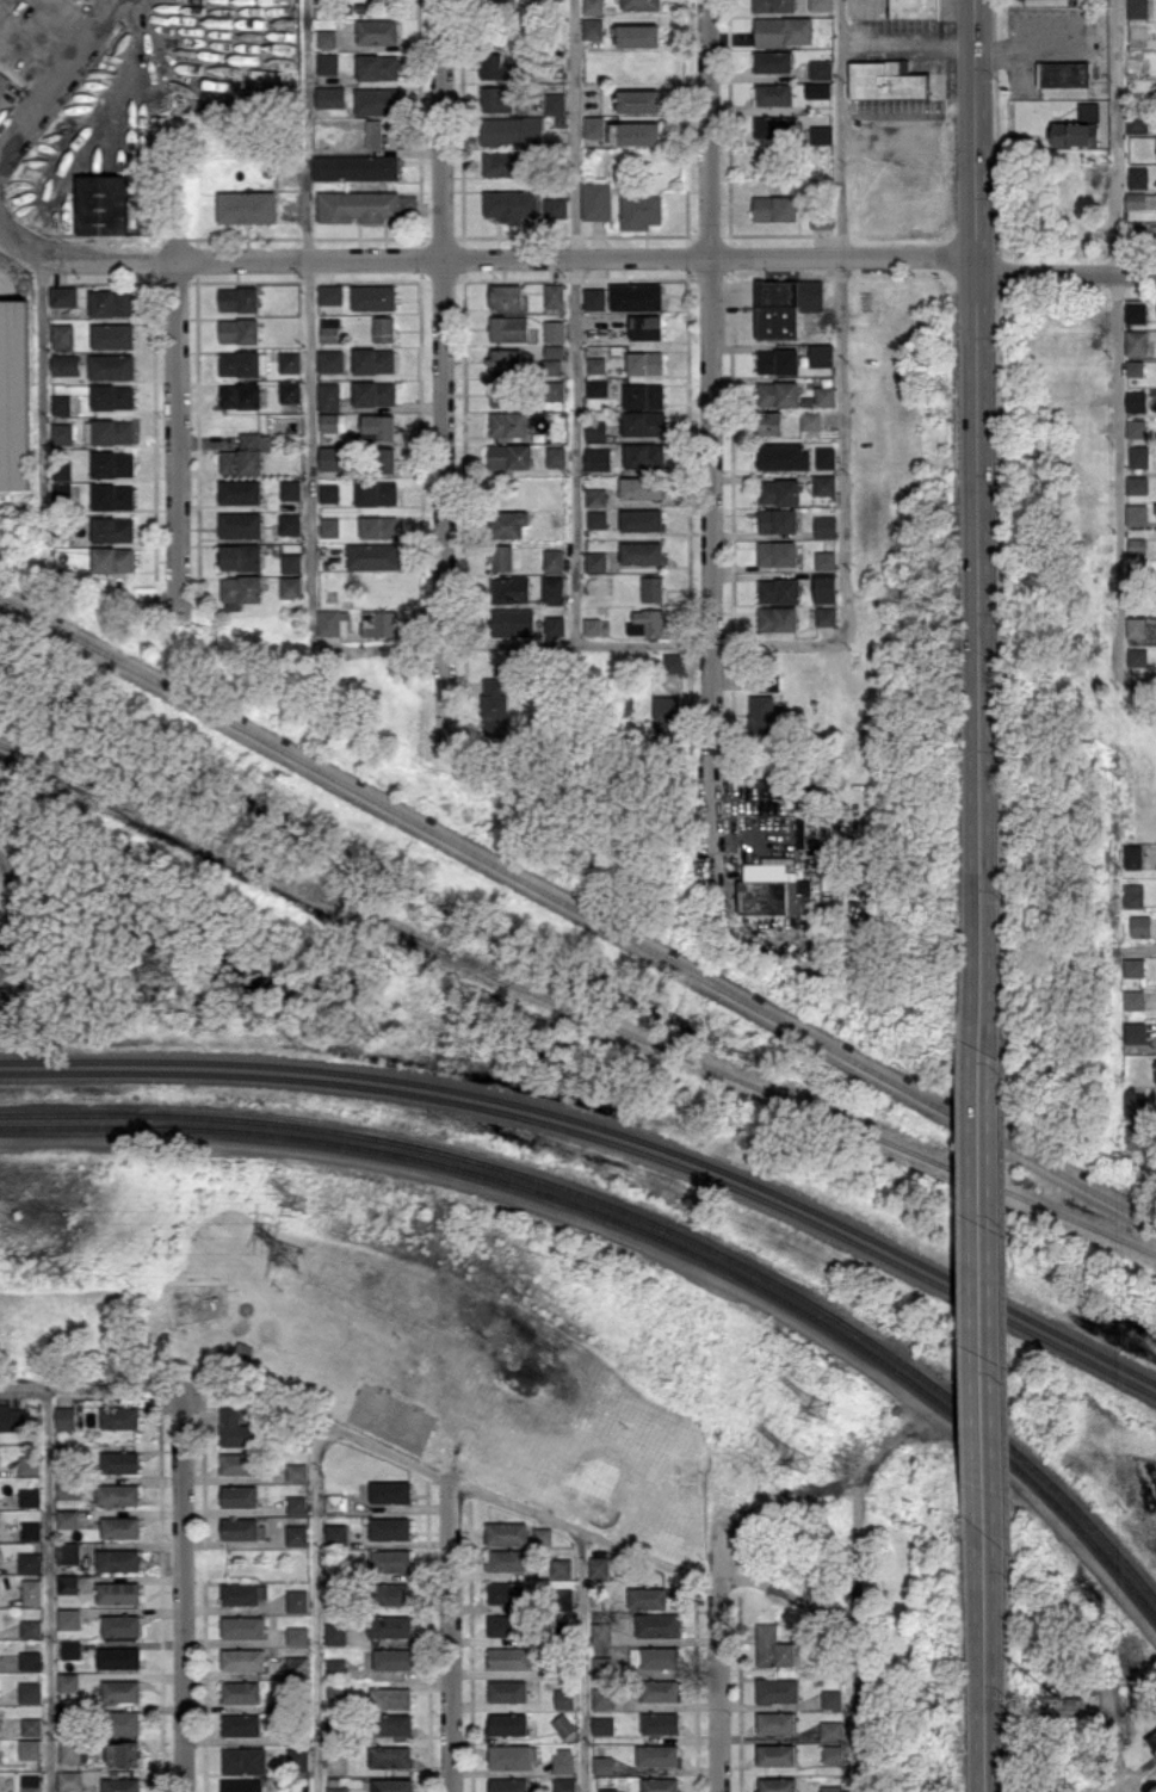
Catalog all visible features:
building: (641, 5)
building: (821, 5)
building: (593, 6)
building: (773, 6)
building: (914, 8)
building: (1137, 8)
building: (593, 27)
building: (377, 31)
building: (784, 31)
building: (638, 35)
building: (326, 38)
road: (907, 43)
road: (1034, 50)
building: (773, 61)
building: (328, 64)
building: (1133, 66)
building: (369, 67)
building: (821, 68)
building: (1063, 73)
building: (885, 80)
building: (2, 81)
road: (60, 81)
building: (818, 88)
building: (773, 93)
building: (496, 99)
building: (639, 100)
building: (555, 103)
building: (1088, 111)
building: (1136, 122)
building: (594, 125)
building: (777, 126)
building: (512, 130)
road: (884, 130)
building: (635, 132)
building: (821, 134)
building: (1075, 134)
building: (500, 165)
building: (356, 168)
building: (1138, 177)
building: (1136, 199)
building: (596, 200)
building: (509, 205)
building: (359, 206)
building: (247, 208)
building: (774, 208)
building: (555, 209)
building: (641, 210)
building: (821, 221)
building: (1152, 230)
road: (843, 258)
road: (350, 260)
road: (1067, 272)
building: (330, 295)
building: (554, 296)
building: (635, 296)
building: (63, 297)
building: (373, 297)
building: (594, 297)
building: (501, 298)
building: (239, 299)
building: (110, 304)
building: (784, 307)
building: (1136, 313)
road: (311, 322)
road: (577, 322)
road: (840, 322)
building: (645, 326)
building: (508, 329)
building: (239, 330)
building: (383, 330)
building: (554, 330)
building: (328, 332)
building: (112, 336)
road: (1120, 340)
building: (1137, 341)
building: (820, 354)
building: (505, 360)
building: (552, 360)
building: (778, 360)
building: (290, 362)
building: (330, 362)
building: (373, 362)
building: (644, 362)
building: (239, 364)
building: (596, 364)
building: (111, 367)
building: (1135, 367)
road: (444, 376)
building: (596, 387)
building: (554, 390)
building: (290, 391)
building: (778, 393)
building: (373, 394)
building: (18, 395)
road: (43, 395)
building: (643, 395)
building: (824, 395)
building: (240, 396)
building: (328, 396)
building: (111, 397)
building: (1136, 401)
building: (60, 404)
building: (643, 421)
building: (768, 421)
building: (508, 425)
building: (810, 425)
building: (378, 426)
building: (1136, 427)
building: (595, 430)
building: (112, 432)
building: (61, 434)
road: (177, 434)
road: (710, 437)
building: (643, 455)
building: (243, 456)
building: (556, 456)
building: (781, 456)
building: (1138, 456)
building: (509, 457)
building: (824, 457)
building: (596, 458)
building: (333, 459)
building: (387, 459)
building: (112, 464)
building: (823, 483)
building: (1137, 483)
building: (641, 487)
building: (290, 490)
building: (778, 490)
building: (61, 492)
building: (240, 493)
building: (372, 493)
building: (329, 494)
building: (595, 496)
building: (112, 498)
building: (1136, 514)
building: (596, 518)
building: (641, 519)
building: (777, 520)
road: (977, 523)
building: (289, 524)
building: (509, 525)
building: (824, 525)
building: (240, 526)
building: (329, 527)
building: (112, 529)
building: (1137, 545)
building: (642, 551)
building: (777, 552)
building: (241, 557)
building: (502, 557)
building: (112, 558)
building: (552, 558)
building: (824, 560)
building: (595, 561)
building: (291, 562)
building: (290, 586)
building: (824, 587)
building: (509, 588)
building: (651, 588)
building: (552, 589)
building: (240, 591)
building: (778, 591)
building: (824, 614)
building: (777, 618)
building: (333, 622)
building: (379, 622)
building: (513, 622)
building: (649, 622)
building: (555, 624)
building: (592, 625)
building: (1136, 626)
road: (577, 644)
building: (1137, 656)
building: (674, 661)
road: (1138, 682)
building: (495, 706)
building: (761, 715)
building: (667, 716)
building: (1132, 855)
building: (772, 888)
building: (1133, 895)
railway: (577, 909)
building: (1140, 925)
road: (1142, 948)
building: (1133, 966)
building: (1132, 999)
railway: (573, 1008)
building: (1135, 1032)
building: (1155, 1070)
railway: (602, 1126)
railway: (602, 1138)
power tower: (308, 1206)
railway: (637, 1213)
railway: (638, 1228)
power tower: (299, 1255)
road: (982, 1290)
road: (91, 1389)
power tower: (820, 1404)
building: (66, 1416)
building: (13, 1417)
building: (119, 1417)
building: (235, 1428)
building: (119, 1460)
power tower: (800, 1462)
building: (237, 1463)
building: (29, 1464)
building: (297, 1472)
building: (69, 1488)
building: (390, 1491)
building: (117, 1494)
building: (240, 1495)
building: (30, 1497)
road: (508, 1500)
building: (335, 1502)
building: (296, 1504)
building: (67, 1518)
building: (119, 1526)
building: (390, 1527)
building: (242, 1528)
building: (31, 1530)
building: (335, 1533)
building: (506, 1533)
building: (296, 1534)
building: (542, 1535)
building: (68, 1552)
building: (118, 1559)
building: (389, 1559)
building: (506, 1559)
building: (30, 1561)
building: (599, 1567)
building: (561, 1568)
building: (67, 1583)
building: (32, 1590)
road: (47, 1590)
road: (183, 1590)
building: (118, 1592)
building: (506, 1592)
road: (786, 1592)
building: (243, 1593)
building: (394, 1593)
building: (647, 1598)
building: (564, 1599)
building: (296, 1600)
building: (68, 1618)
road: (314, 1624)
building: (657, 1624)
building: (120, 1625)
building: (389, 1625)
building: (502, 1625)
building: (242, 1626)
building: (31, 1627)
building: (601, 1632)
building: (335, 1633)
building: (296, 1635)
road: (450, 1635)
building: (772, 1646)
building: (70, 1649)
building: (655, 1656)
building: (118, 1657)
building: (509, 1657)
building: (242, 1658)
building: (391, 1658)
building: (30, 1660)
road: (586, 1661)
road: (716, 1662)
road: (984, 1662)
building: (600, 1663)
building: (335, 1664)
building: (296, 1666)
building: (68, 1681)
building: (120, 1689)
building: (659, 1689)
building: (775, 1689)
building: (240, 1691)
building: (506, 1691)
building: (30, 1692)
building: (390, 1697)
building: (602, 1697)
building: (563, 1698)
building: (830, 1698)
road: (849, 1710)
building: (124, 1722)
building: (659, 1722)
building: (774, 1722)
building: (392, 1723)
building: (507, 1723)
building: (240, 1724)
building: (562, 1724)
building: (602, 1724)
building: (27, 1725)
building: (829, 1730)
building: (1151, 1738)
building: (30, 1748)
building: (69, 1750)
building: (122, 1753)
building: (830, 1753)
building: (774, 1754)
building: (512, 1755)
building: (656, 1755)
building: (389, 1756)
building: (243, 1760)
building: (296, 1760)
building: (562, 1760)
building: (602, 1763)
building: (70, 1779)
building: (31, 1782)
building: (120, 1784)
building: (563, 1784)
building: (659, 1784)
building: (775, 1784)
building: (241, 1785)
building: (391, 1785)
building: (507, 1785)
building: (830, 1787)
building: (297, 1788)
building: (336, 1788)
building: (607, 1790)

